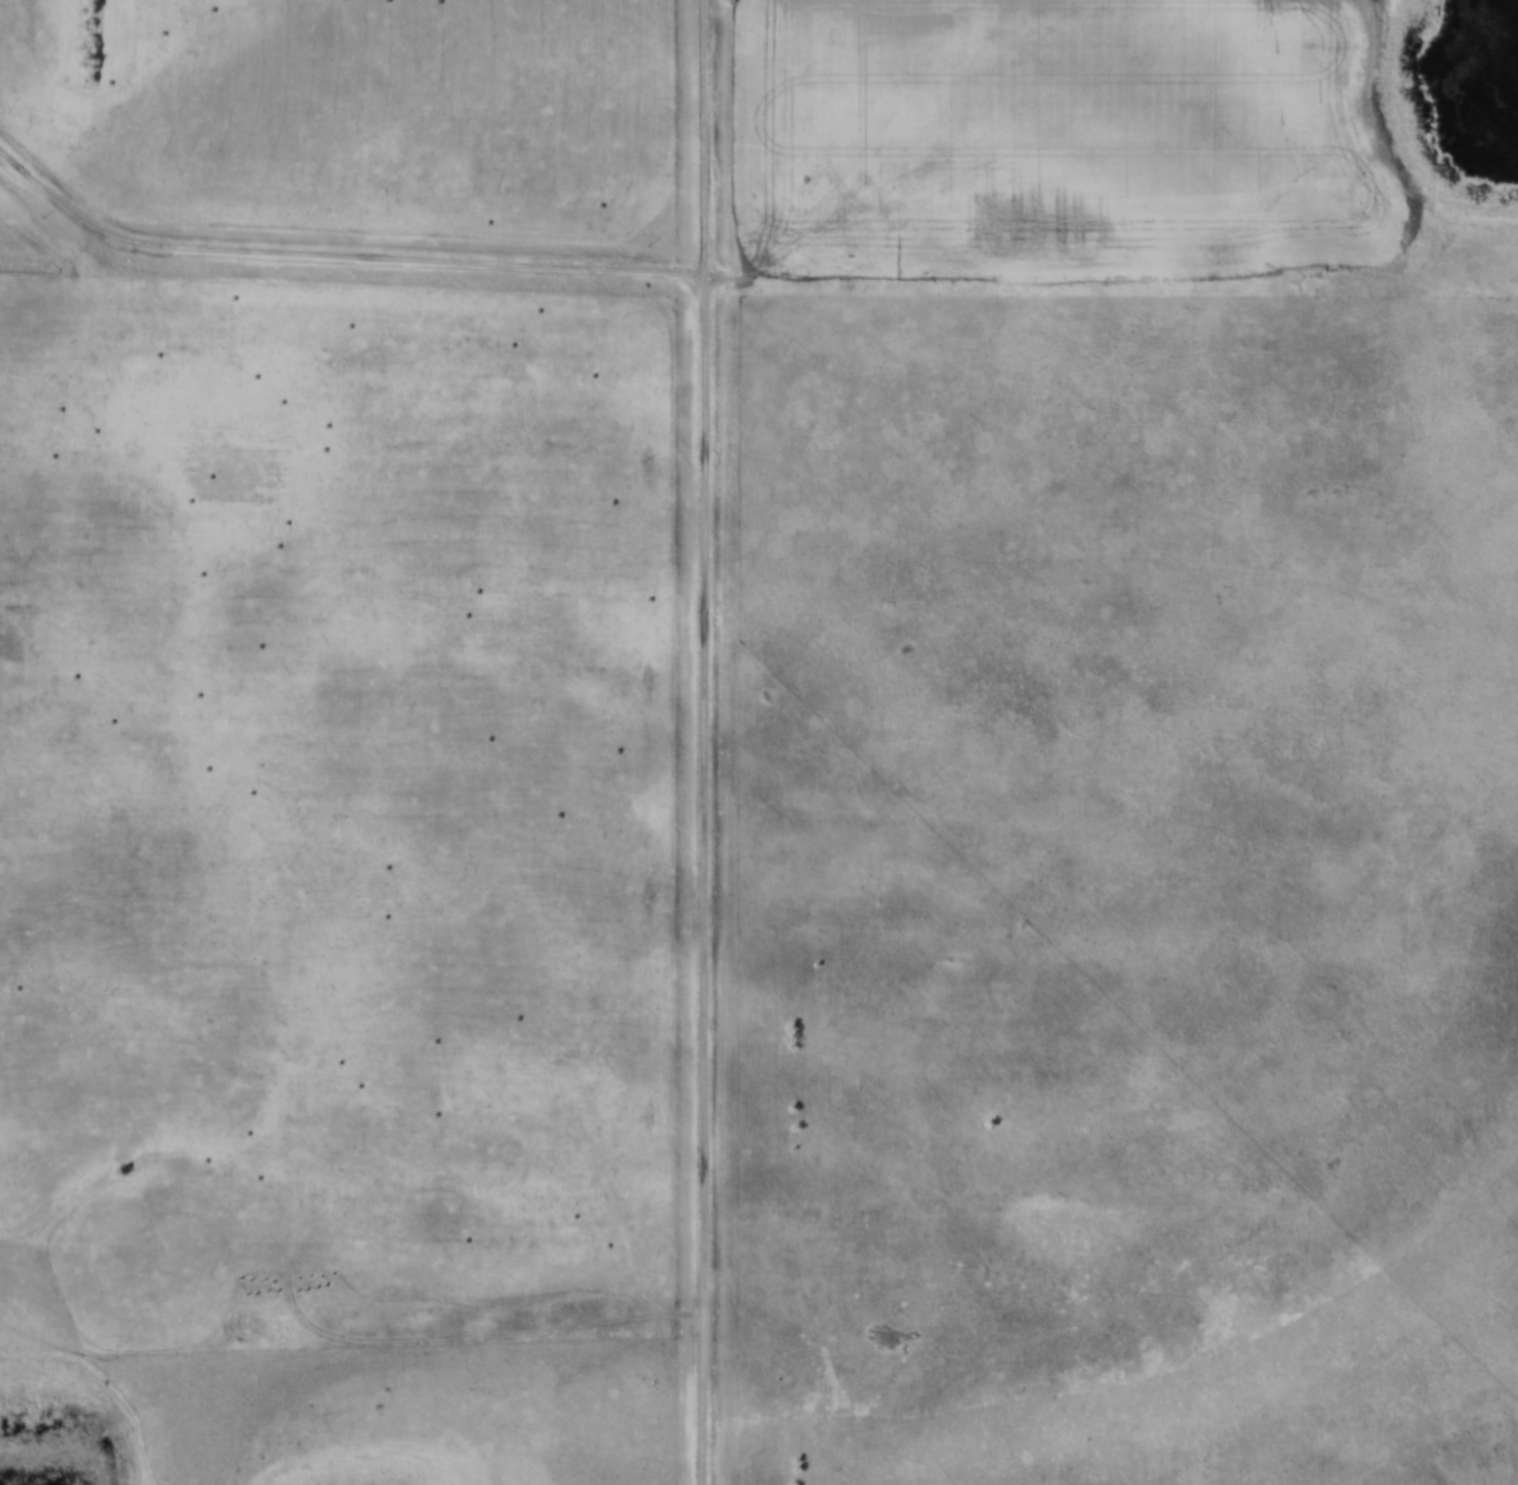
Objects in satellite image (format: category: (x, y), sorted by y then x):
road: (338, 255)
road: (704, 742)

